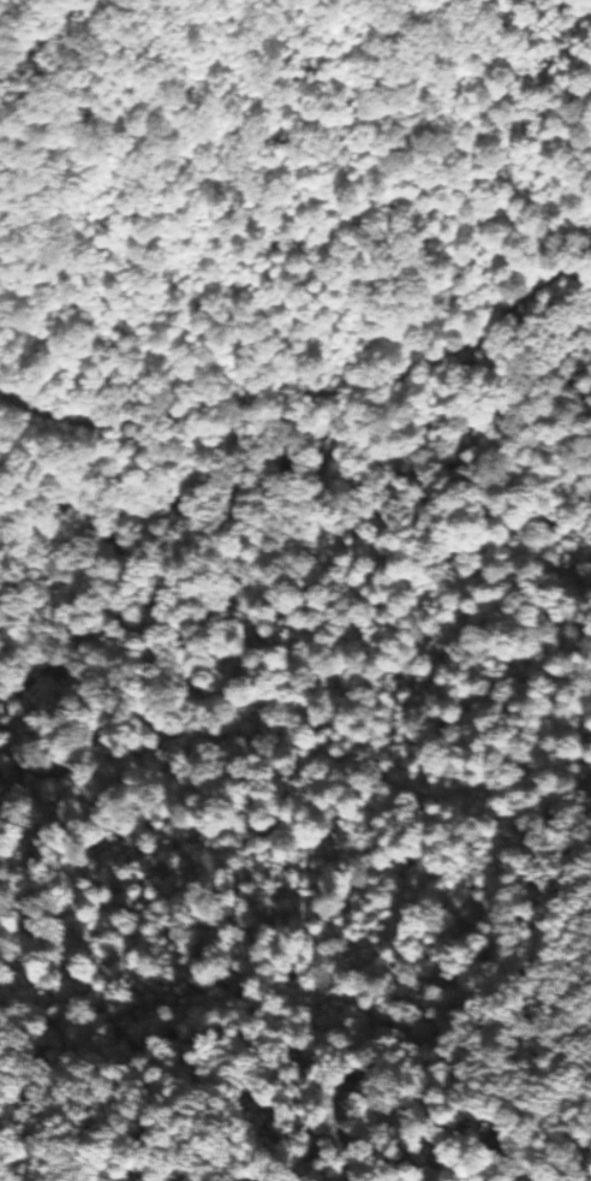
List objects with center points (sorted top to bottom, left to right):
road: (304, 343)

